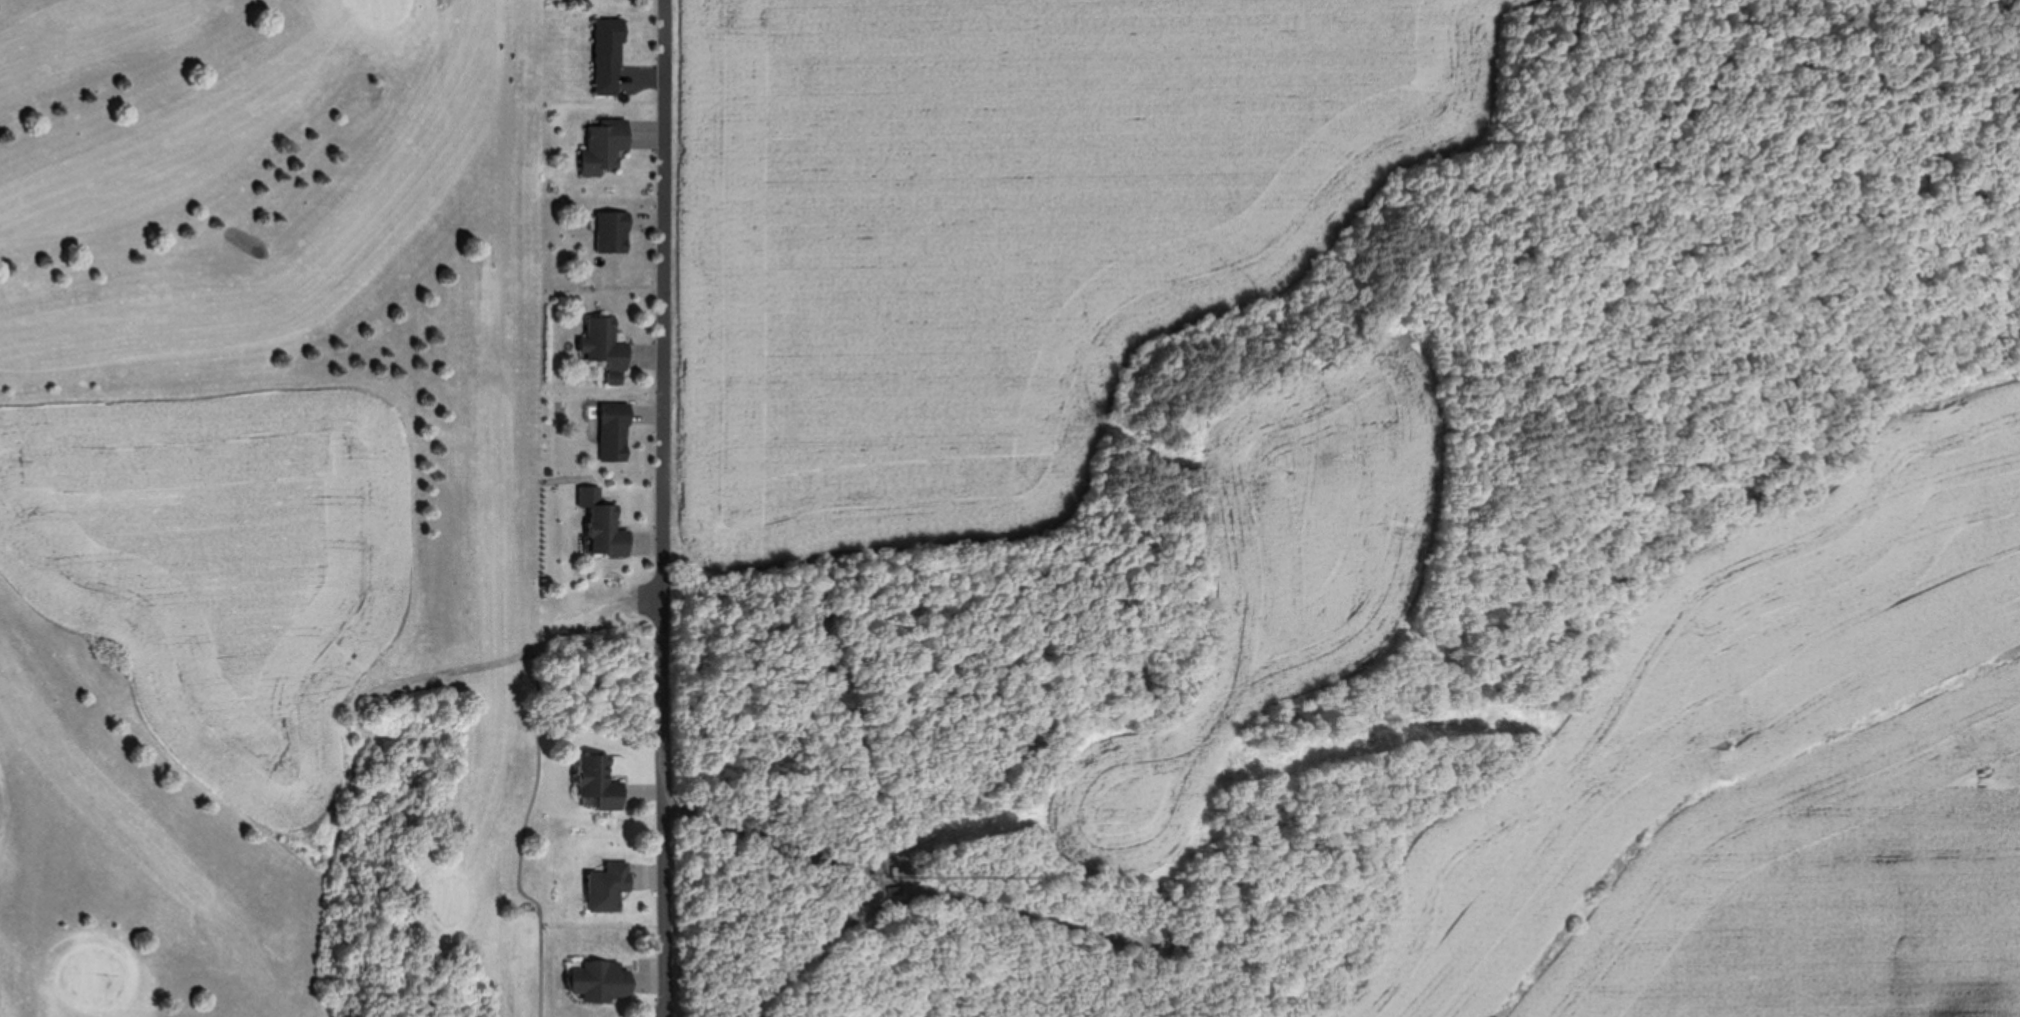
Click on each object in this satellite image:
building: (610, 56)
building: (606, 146)
building: (614, 232)
building: (608, 348)
building: (616, 432)
road: (665, 508)
park: (275, 509)
building: (610, 532)
building: (601, 783)
road: (518, 868)
building: (609, 887)
building: (602, 982)

